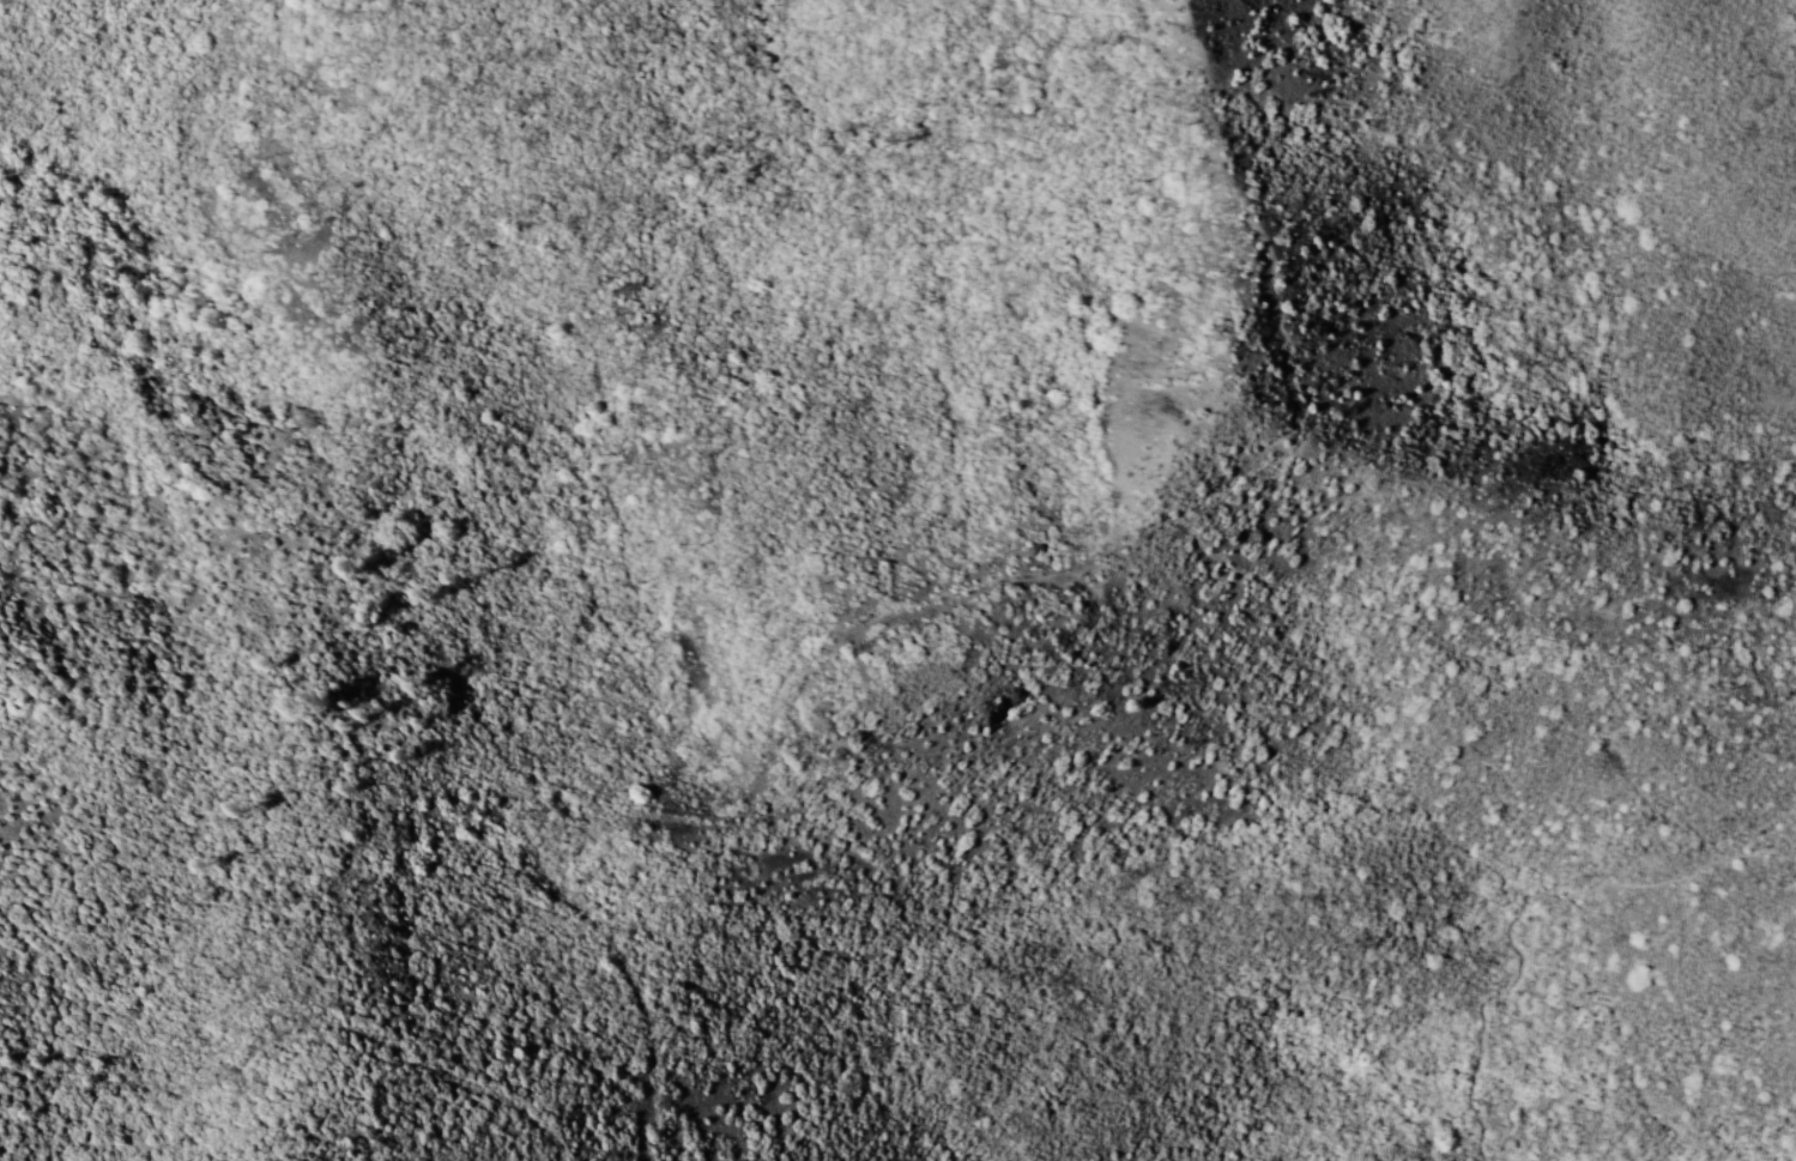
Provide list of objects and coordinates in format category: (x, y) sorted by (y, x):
road: (945, 604)
road: (294, 1016)

